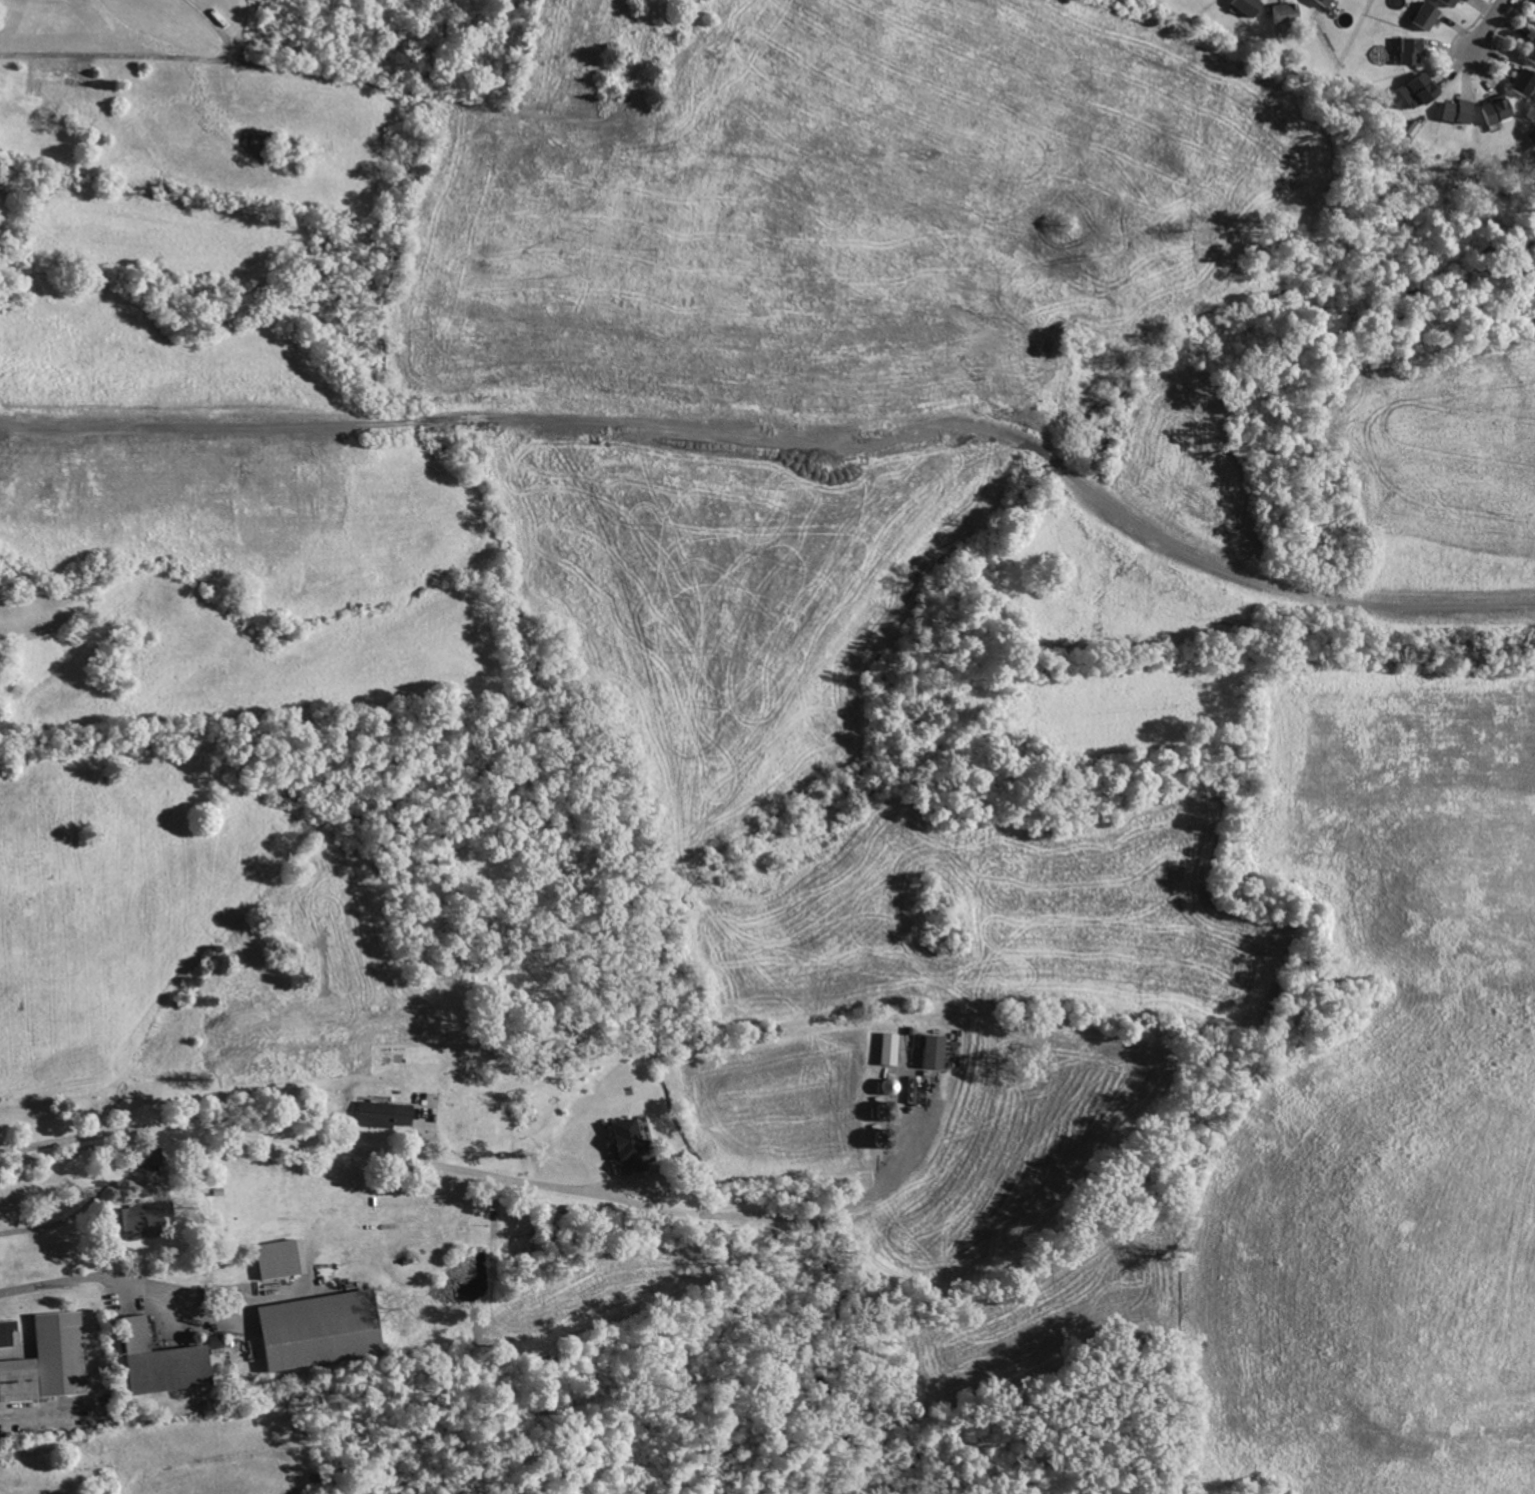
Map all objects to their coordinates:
building: (1453, 2)
building: (1324, 3)
building: (1249, 6)
building: (1286, 12)
building: (1427, 16)
road: (1489, 24)
building: (1413, 50)
building: (1531, 51)
road: (148, 55)
building: (1524, 83)
building: (1414, 92)
building: (1459, 109)
building: (1496, 112)
road: (790, 441)
building: (888, 1048)
building: (933, 1050)
building: (384, 1113)
building: (628, 1141)
road: (493, 1173)
road: (82, 1210)
building: (139, 1216)
building: (279, 1258)
road: (100, 1279)
building: (320, 1328)
building: (9, 1334)
building: (163, 1359)
building: (49, 1361)

